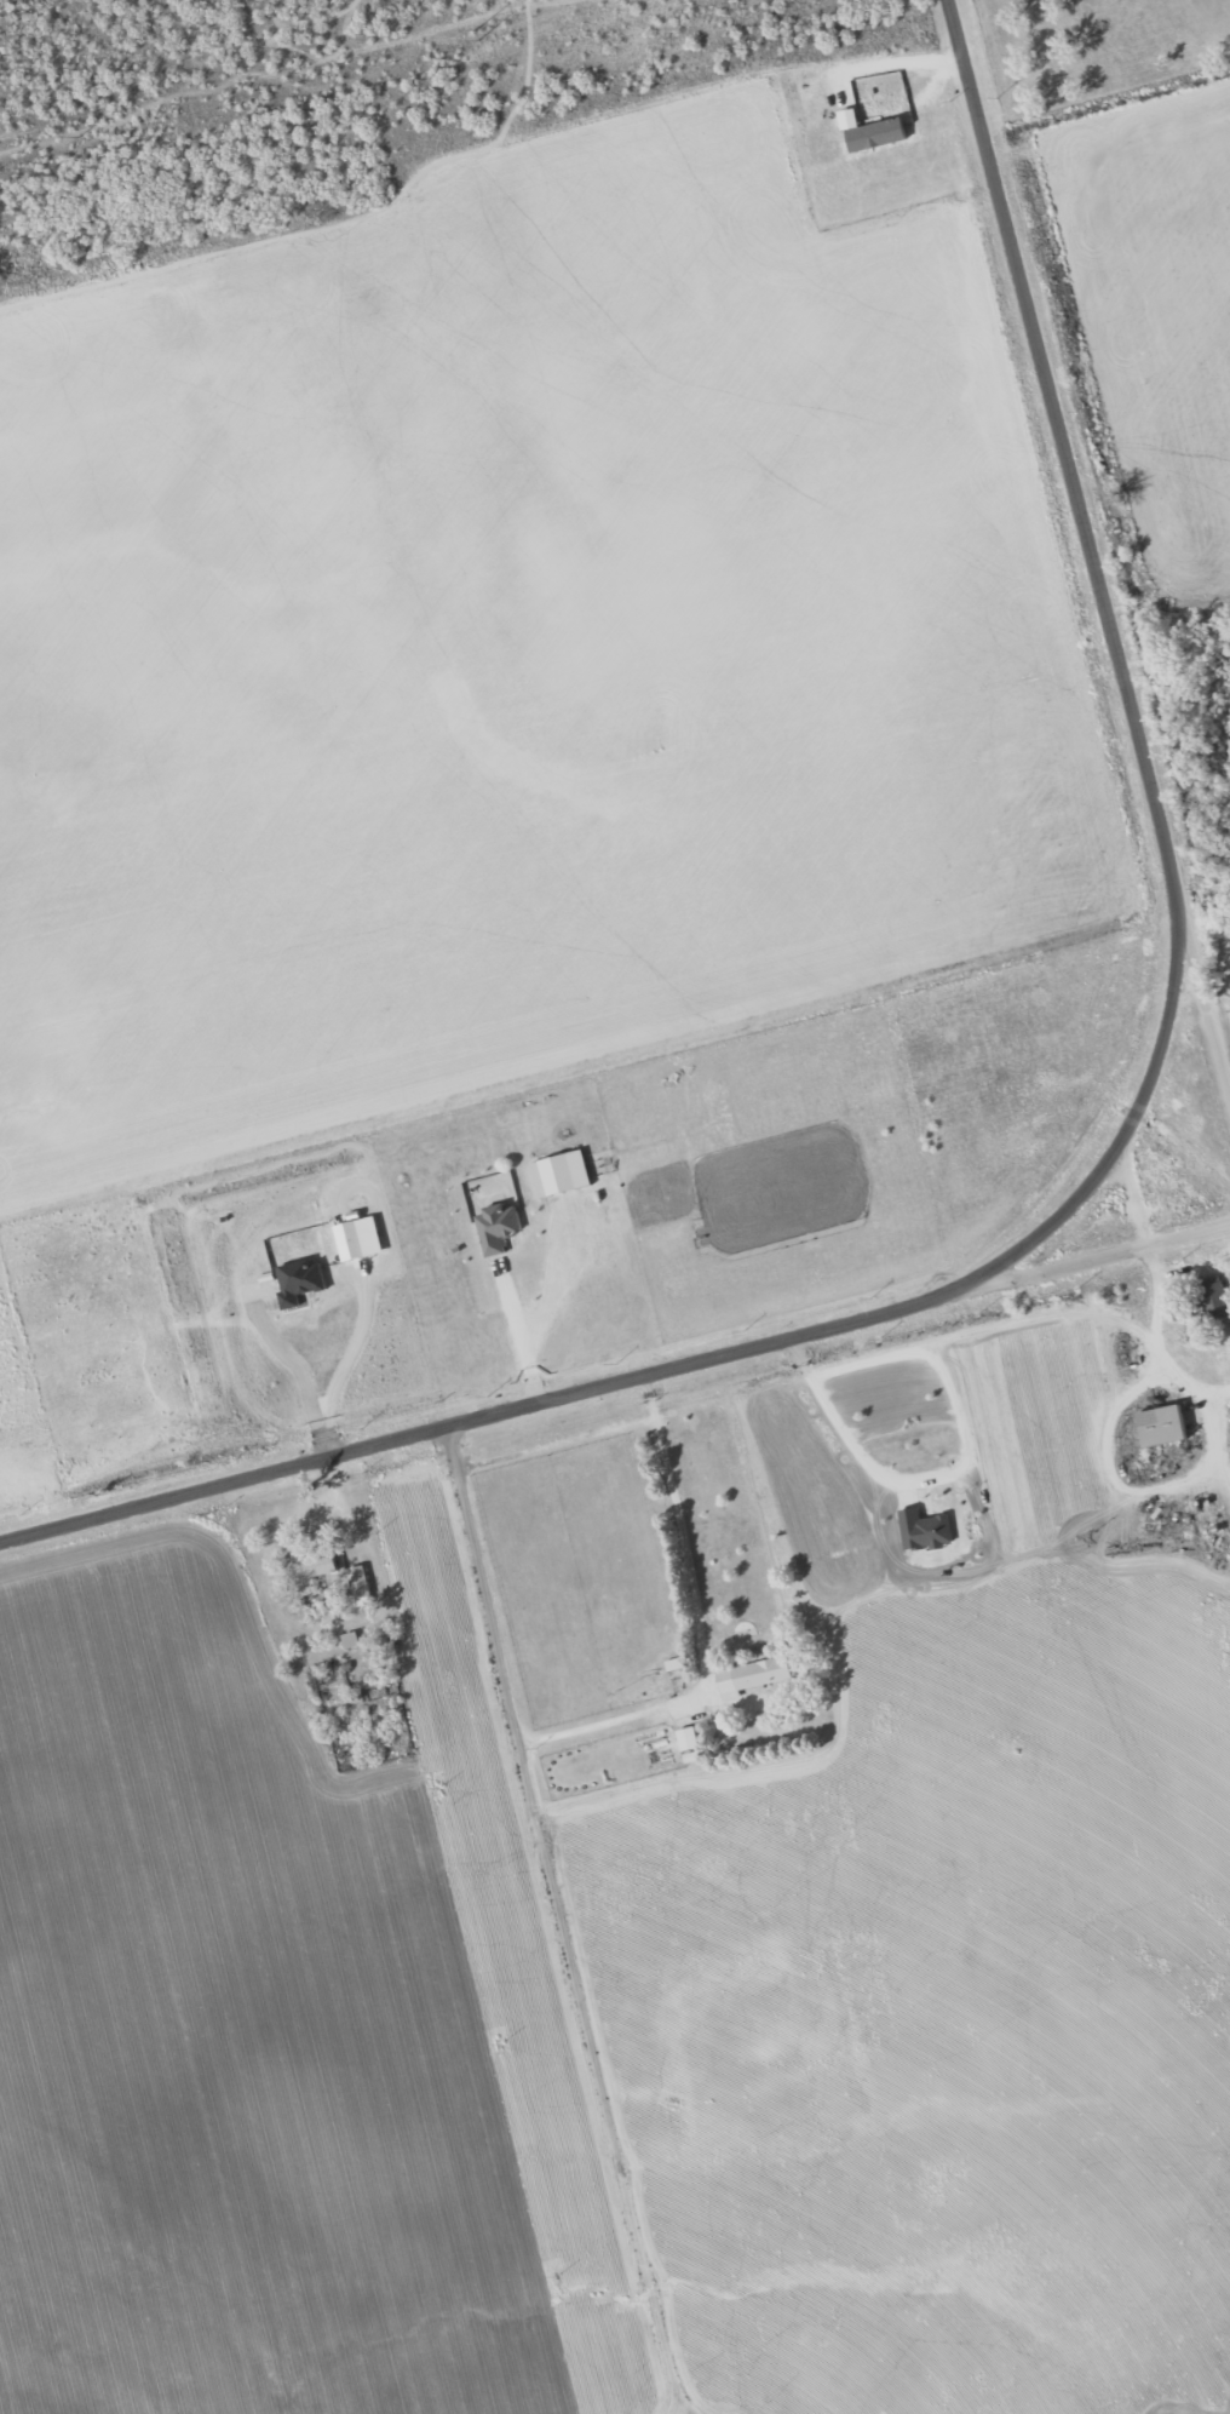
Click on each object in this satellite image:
power tower: (475, 35)
building: (847, 113)
building: (874, 130)
power tower: (85, 131)
road: (1084, 508)
road: (1205, 963)
road: (1088, 1261)
building: (1214, 1300)
road: (651, 1371)
building: (1165, 1424)
road: (556, 1444)
road: (960, 1469)
building: (320, 1569)
building: (364, 1583)
road: (697, 1625)
building: (355, 1638)
building: (757, 1674)
building: (692, 1738)
road: (561, 1920)

